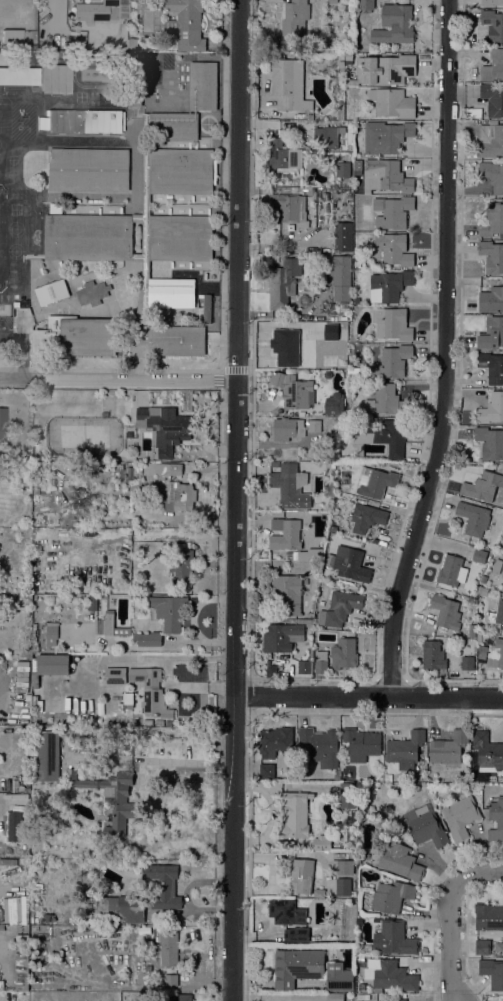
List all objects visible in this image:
building: (143, 1)
building: (332, 1)
building: (491, 2)
building: (365, 5)
building: (93, 10)
road: (223, 17)
building: (295, 17)
building: (186, 24)
building: (394, 24)
building: (493, 24)
building: (14, 39)
building: (132, 43)
building: (341, 57)
building: (348, 57)
road: (256, 59)
building: (340, 64)
building: (493, 66)
building: (385, 69)
building: (182, 74)
track: (94, 75)
building: (19, 76)
building: (56, 78)
building: (21, 84)
building: (289, 85)
building: (191, 87)
building: (203, 87)
building: (56, 92)
park: (80, 97)
park: (105, 97)
building: (135, 99)
building: (493, 99)
park: (0, 100)
building: (392, 102)
park: (0, 114)
building: (84, 120)
building: (172, 126)
building: (196, 127)
park: (0, 130)
building: (85, 132)
building: (328, 135)
building: (386, 136)
building: (491, 140)
building: (90, 150)
building: (283, 155)
park: (11, 160)
building: (358, 165)
building: (342, 169)
building: (89, 170)
building: (180, 171)
building: (211, 171)
park: (11, 174)
building: (492, 175)
building: (385, 176)
building: (87, 189)
park: (14, 193)
road: (223, 196)
building: (55, 208)
building: (290, 208)
park: (14, 209)
building: (392, 211)
building: (492, 220)
park: (14, 229)
building: (343, 236)
building: (88, 237)
building: (180, 238)
building: (211, 238)
building: (393, 249)
park: (14, 251)
building: (492, 256)
building: (139, 263)
building: (357, 264)
building: (338, 275)
building: (282, 283)
building: (389, 285)
building: (52, 292)
building: (93, 293)
building: (170, 293)
building: (193, 294)
building: (493, 299)
building: (206, 308)
building: (393, 323)
building: (491, 333)
building: (80, 336)
road: (203, 336)
road: (212, 336)
road: (220, 337)
building: (35, 339)
building: (174, 340)
parking lot: (14, 341)
building: (202, 342)
building: (284, 346)
road: (22, 347)
road: (136, 348)
road: (185, 352)
road: (446, 352)
road: (72, 355)
building: (328, 361)
building: (340, 361)
building: (392, 361)
road: (72, 364)
building: (492, 366)
road: (152, 368)
road: (217, 368)
road: (219, 369)
road: (104, 370)
road: (224, 370)
road: (237, 370)
road: (247, 370)
road: (251, 370)
building: (353, 372)
road: (118, 380)
road: (459, 390)
building: (293, 391)
building: (386, 401)
building: (335, 403)
building: (491, 409)
building: (2, 423)
building: (315, 426)
building: (166, 427)
building: (287, 428)
building: (381, 437)
building: (490, 443)
building: (377, 465)
building: (331, 467)
building: (114, 468)
building: (42, 472)
building: (130, 473)
building: (288, 482)
building: (376, 482)
building: (176, 485)
building: (26, 486)
building: (482, 486)
road: (235, 500)
building: (45, 515)
building: (366, 517)
building: (473, 518)
building: (285, 534)
building: (292, 555)
building: (479, 556)
building: (348, 563)
building: (497, 566)
building: (182, 569)
building: (451, 572)
building: (502, 574)
road: (389, 575)
building: (305, 580)
building: (502, 589)
building: (482, 591)
building: (288, 592)
building: (468, 599)
building: (92, 602)
building: (339, 608)
building: (473, 611)
building: (167, 612)
building: (446, 612)
building: (495, 615)
building: (306, 622)
building: (109, 625)
building: (51, 633)
building: (284, 636)
building: (147, 639)
building: (344, 653)
building: (482, 653)
building: (495, 653)
building: (433, 654)
building: (321, 662)
building: (467, 662)
building: (306, 663)
building: (48, 666)
building: (115, 675)
road: (390, 682)
building: (150, 690)
road: (249, 694)
road: (368, 698)
building: (128, 700)
building: (159, 723)
building: (168, 723)
road: (249, 731)
building: (275, 741)
building: (361, 743)
building: (320, 745)
building: (405, 748)
building: (449, 749)
building: (487, 751)
building: (46, 756)
building: (285, 761)
building: (267, 771)
building: (336, 775)
building: (388, 777)
building: (364, 789)
building: (347, 795)
building: (111, 797)
building: (365, 806)
building: (496, 811)
building: (294, 815)
building: (353, 816)
building: (459, 816)
building: (14, 826)
building: (425, 826)
building: (322, 843)
building: (400, 861)
building: (8, 862)
road: (442, 865)
building: (342, 867)
road: (437, 870)
road: (478, 873)
building: (302, 876)
building: (162, 886)
building: (343, 887)
building: (319, 893)
building: (391, 896)
road: (430, 902)
building: (121, 908)
building: (286, 912)
road: (427, 914)
building: (47, 917)
building: (488, 917)
building: (376, 920)
road: (428, 924)
building: (41, 928)
road: (465, 933)
building: (296, 935)
building: (394, 939)
road: (450, 940)
road: (460, 947)
building: (482, 947)
building: (167, 948)
building: (365, 949)
building: (425, 959)
building: (22, 962)
road: (430, 964)
building: (296, 966)
building: (492, 972)
building: (368, 975)
building: (391, 975)
building: (338, 977)
building: (171, 979)
building: (1, 985)
road: (472, 989)
building: (363, 996)
building: (181, 997)
building: (334, 997)
building: (394, 1000)
building: (502, 1000)

